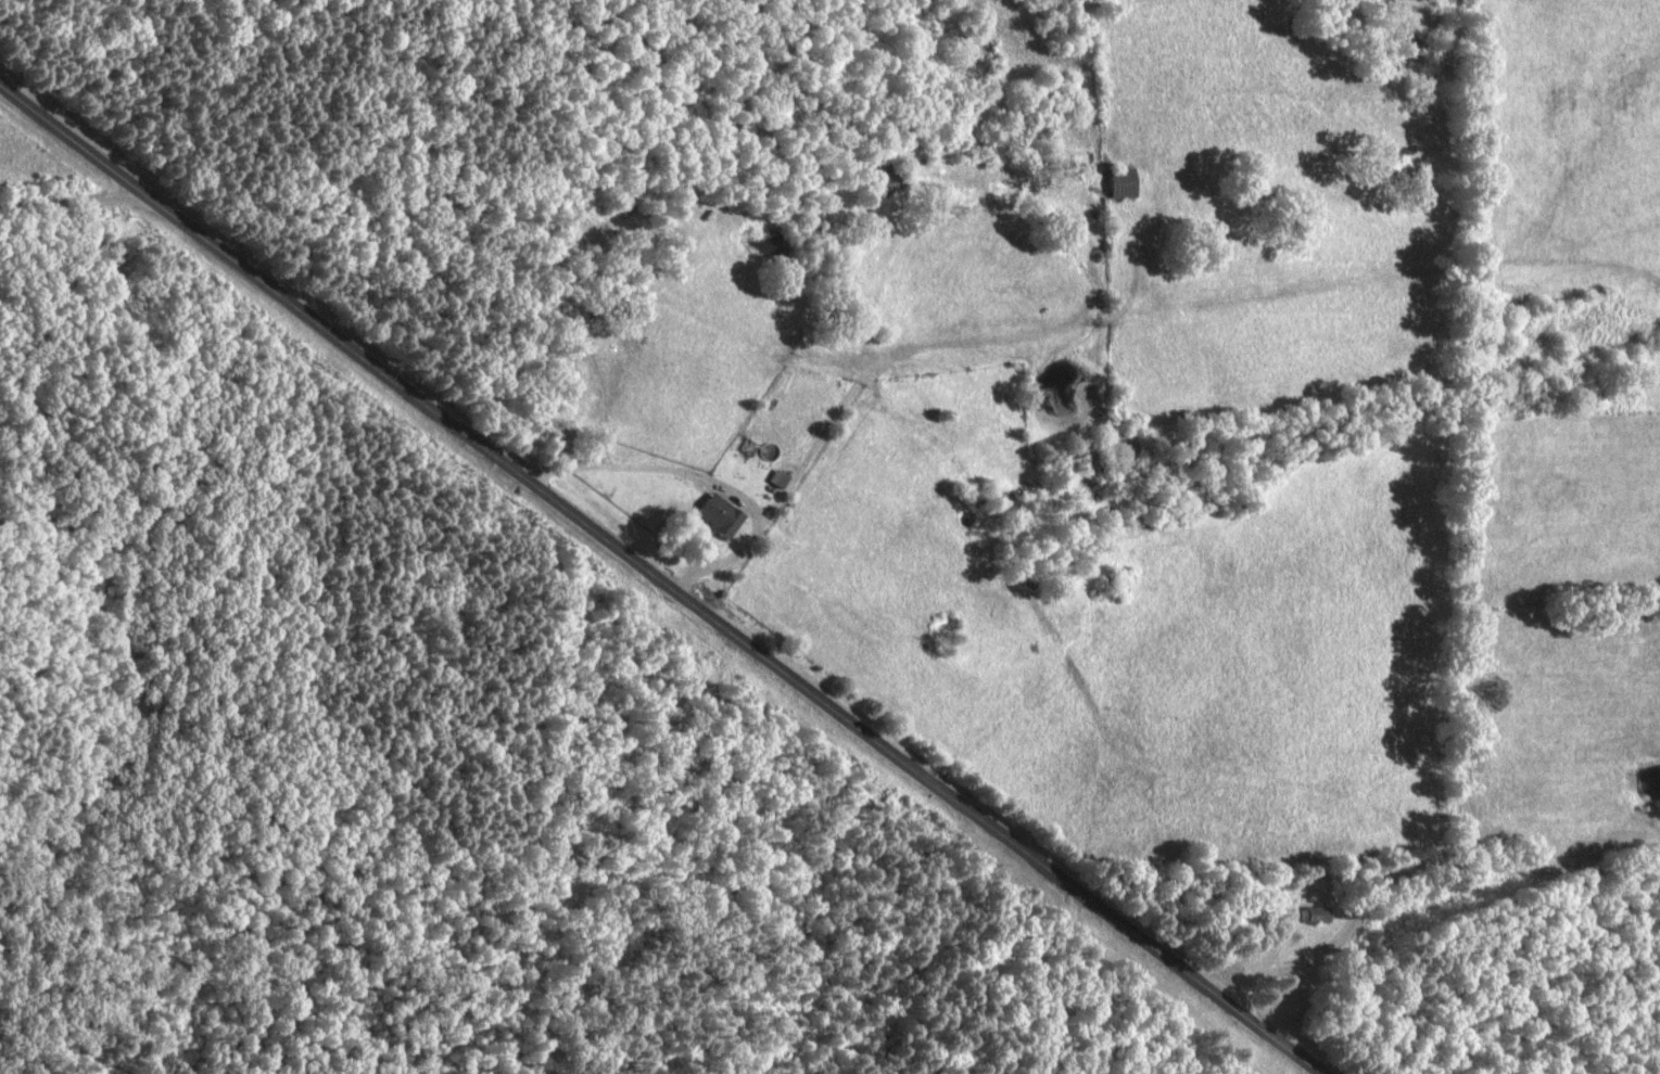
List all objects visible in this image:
road: (50, 115)
building: (884, 180)
building: (1112, 187)
road: (52, 189)
building: (712, 517)
road: (755, 615)
road: (1446, 861)
building: (1298, 916)

